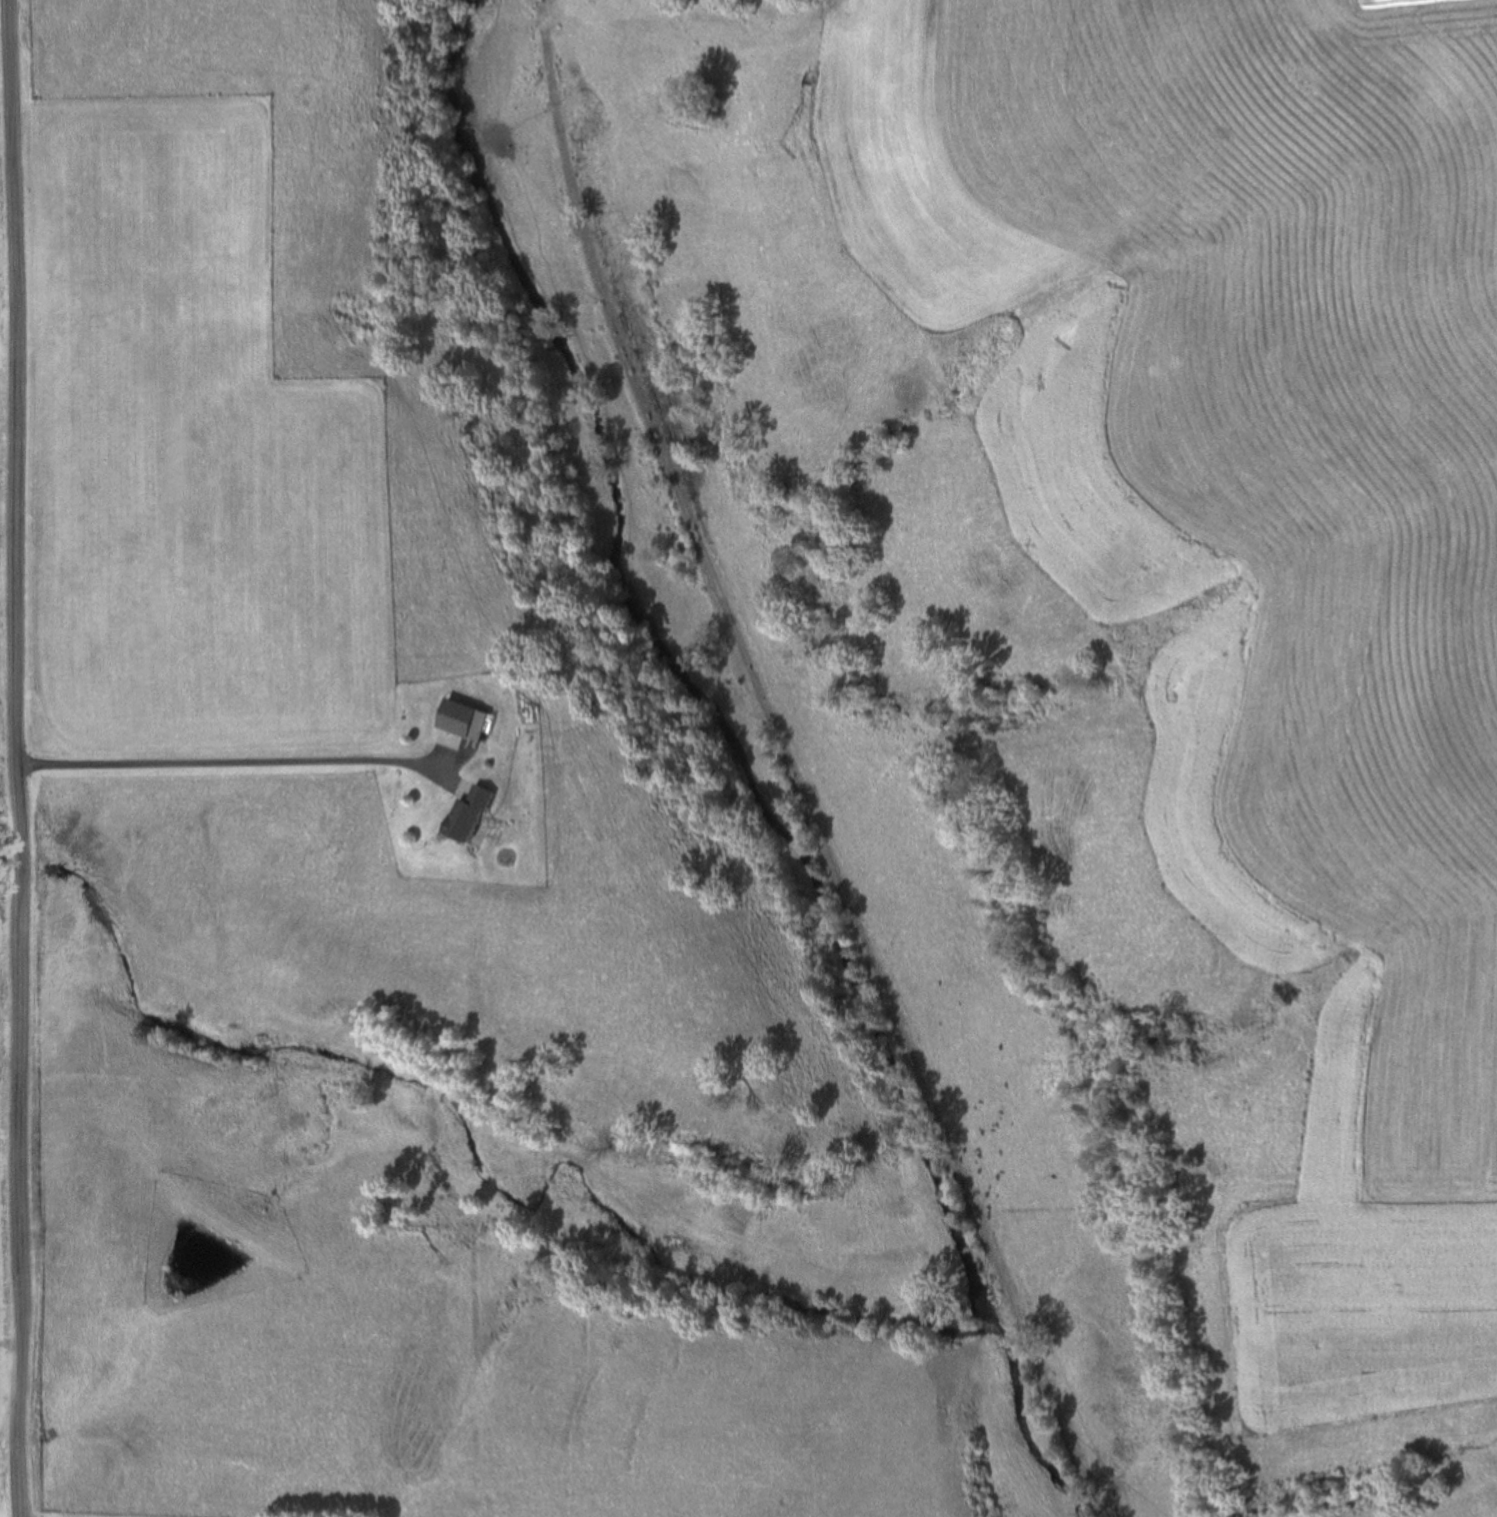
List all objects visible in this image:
building: (467, 721)
road: (16, 758)
road: (236, 761)
building: (470, 815)

